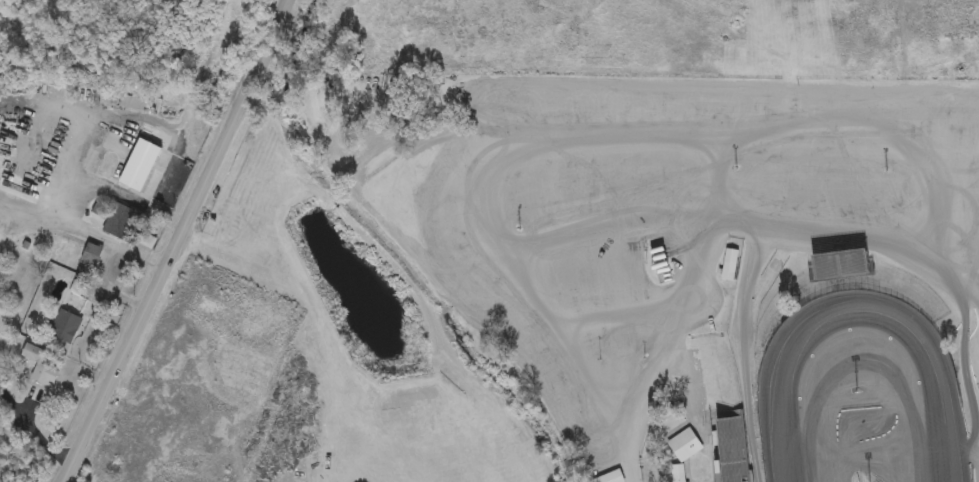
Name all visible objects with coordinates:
building: (337, 8)
building: (131, 102)
building: (140, 165)
building: (121, 222)
road: (1, 226)
road: (85, 231)
road: (175, 241)
building: (91, 255)
building: (729, 265)
building: (842, 265)
building: (17, 276)
raceway: (860, 292)
building: (13, 298)
building: (63, 327)
building: (4, 336)
building: (42, 370)
road: (644, 418)
road: (33, 429)
building: (685, 445)
building: (677, 473)
building: (610, 478)

